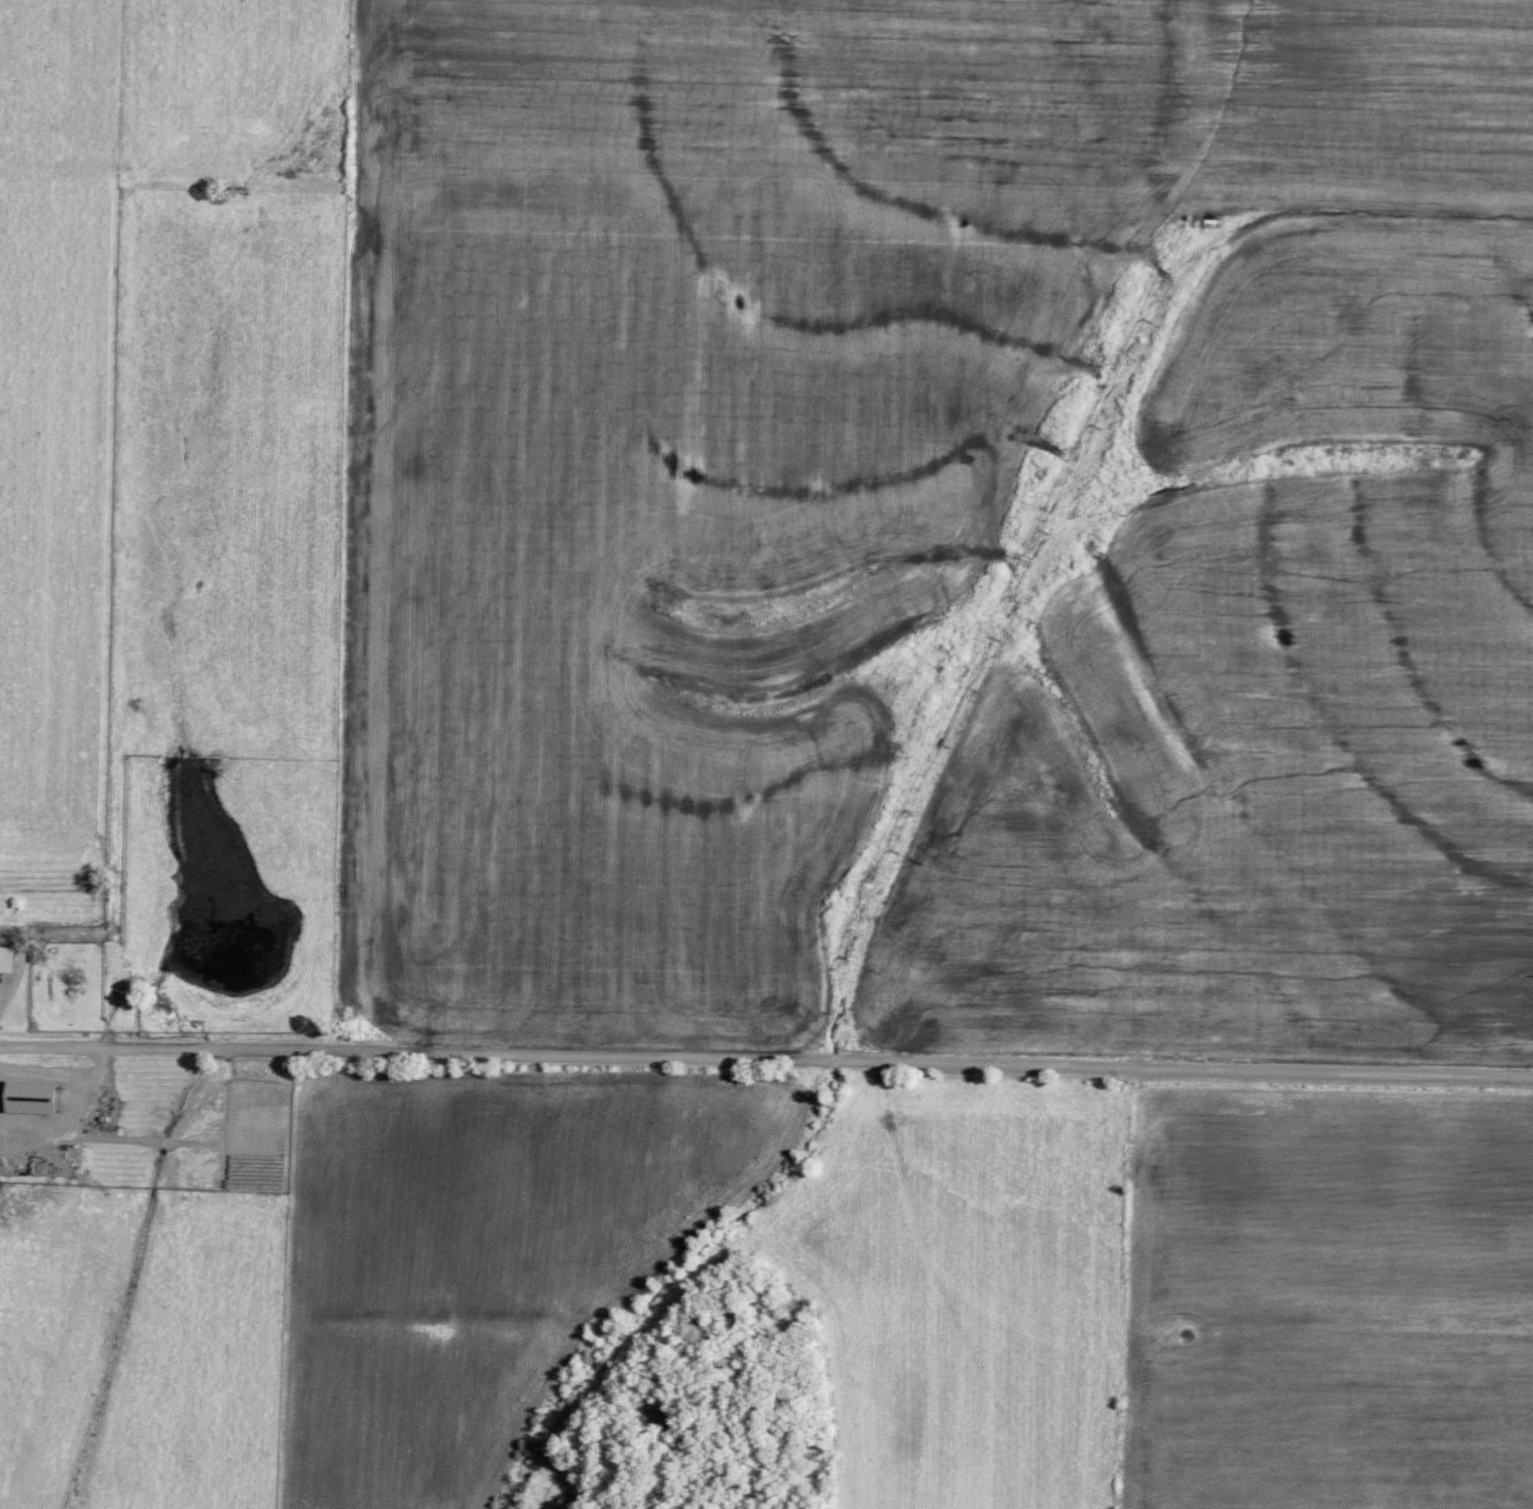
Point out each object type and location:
road: (766, 1061)
road: (60, 1077)
building: (30, 1094)

